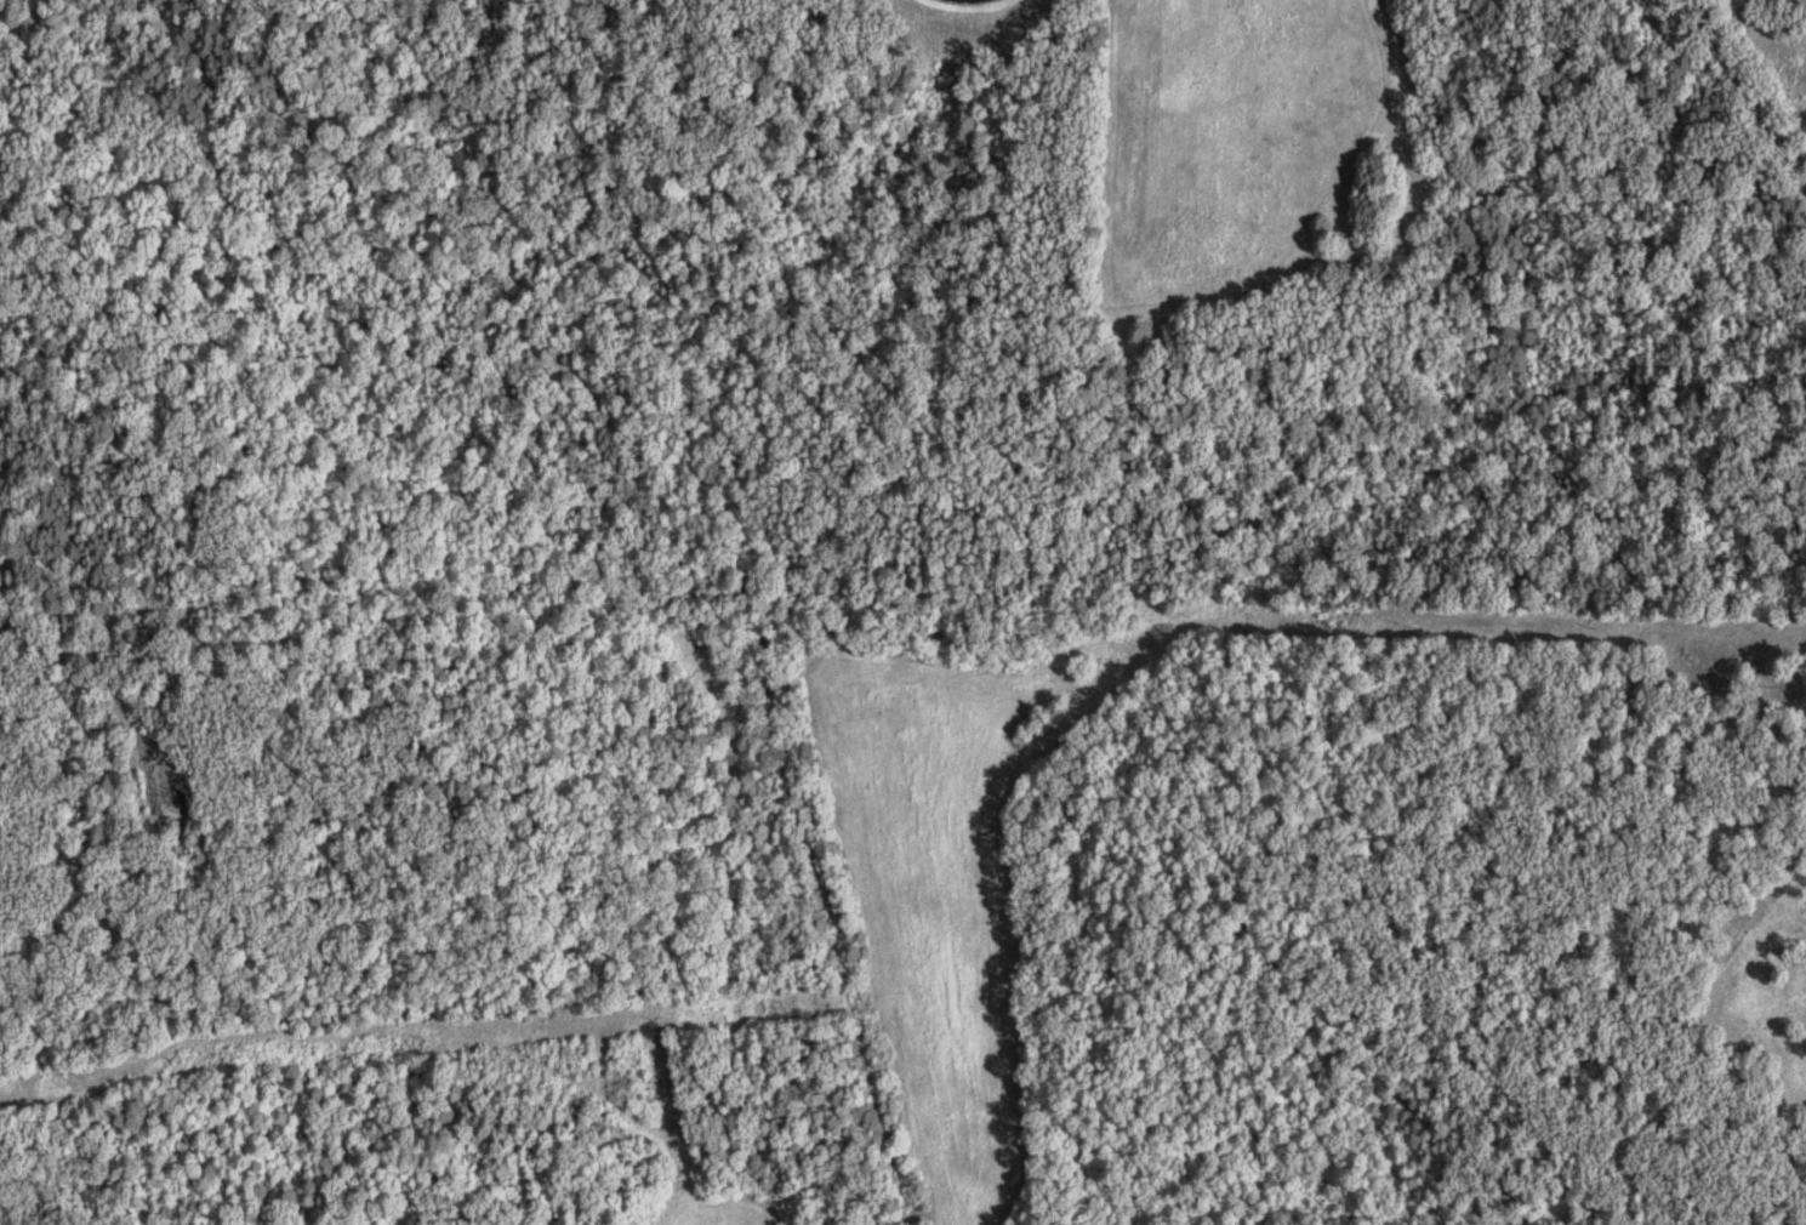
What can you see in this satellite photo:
road: (1749, 87)

